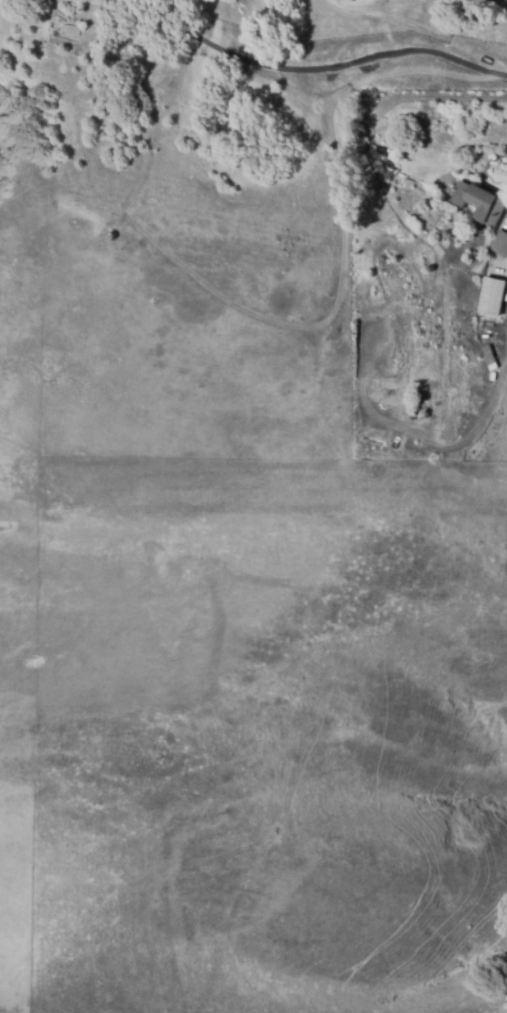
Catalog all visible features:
road: (308, 69)
building: (480, 202)
building: (111, 236)
building: (499, 243)
building: (492, 296)
building: (488, 336)
building: (489, 358)

